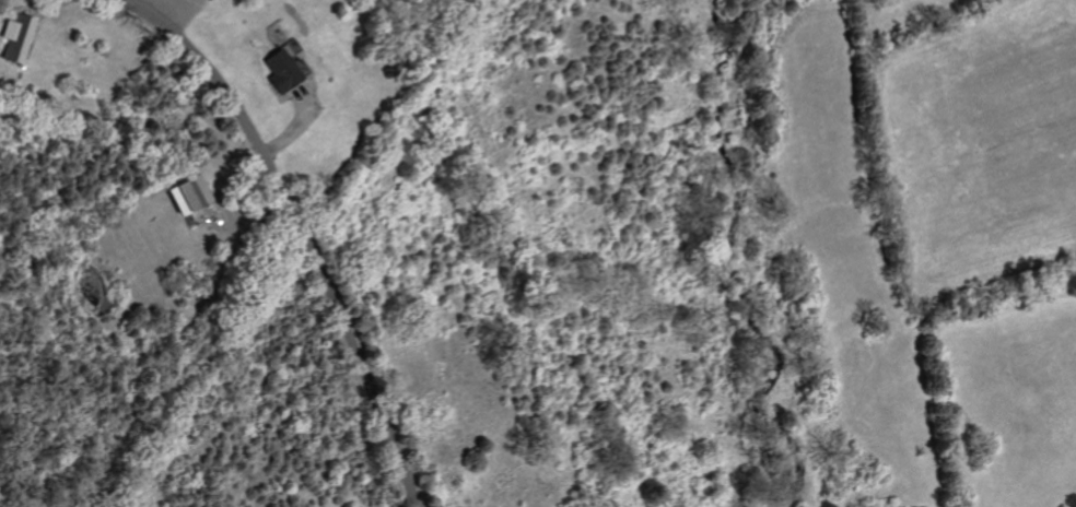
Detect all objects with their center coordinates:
building: (16, 40)
building: (276, 72)
building: (187, 194)
road: (297, 228)

